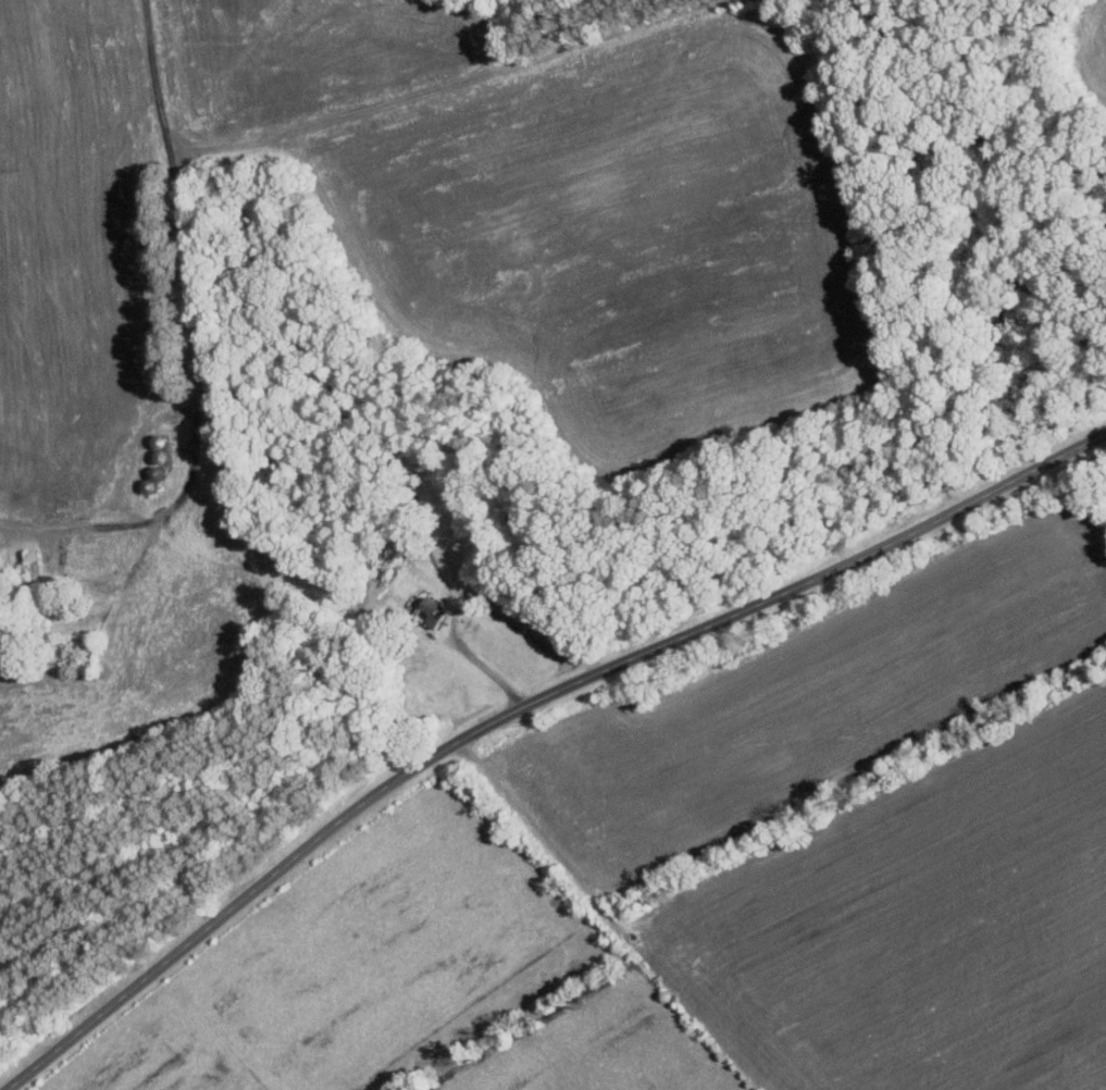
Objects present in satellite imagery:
road: (443, 84)
road: (194, 344)
building: (91, 552)
building: (431, 611)
road: (481, 664)
road: (521, 706)

